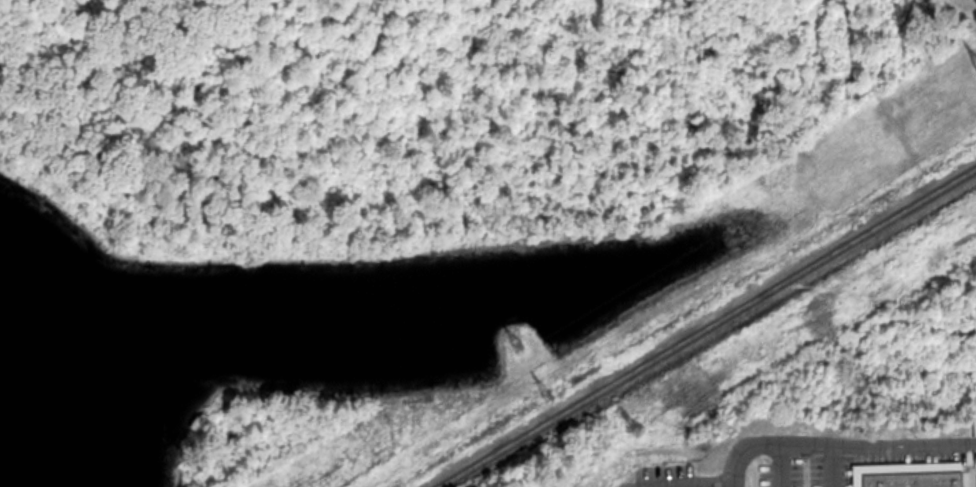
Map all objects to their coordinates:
road: (762, 197)
park: (303, 284)
railway: (711, 329)
road: (533, 346)
power tower: (522, 348)
road: (523, 366)
road: (532, 370)
power tower: (554, 397)
power tower: (638, 429)
road: (841, 453)
building: (914, 485)

